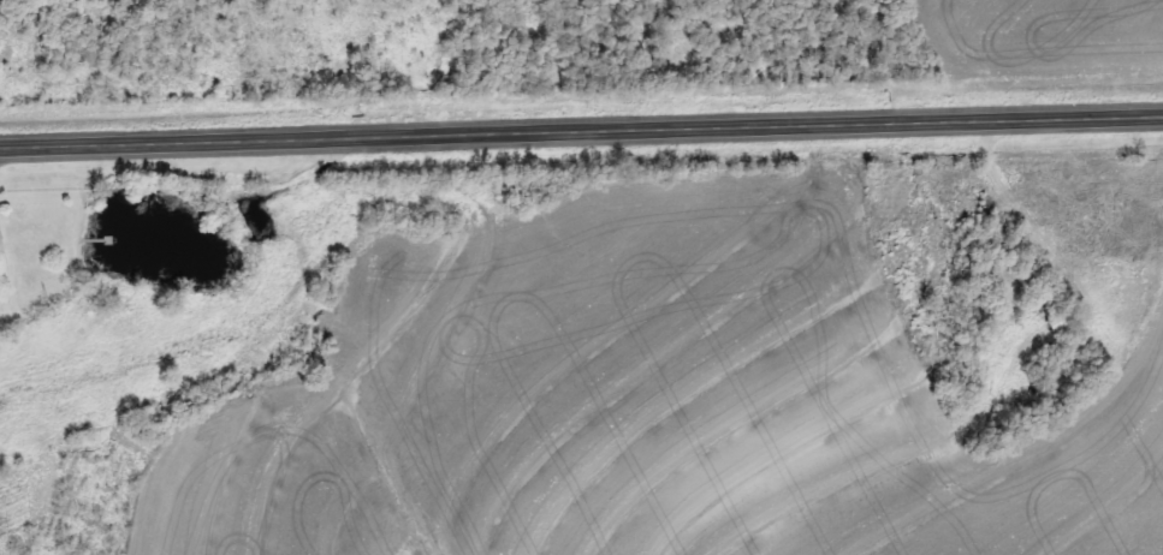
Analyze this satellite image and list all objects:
road: (581, 130)
building: (1057, 360)

